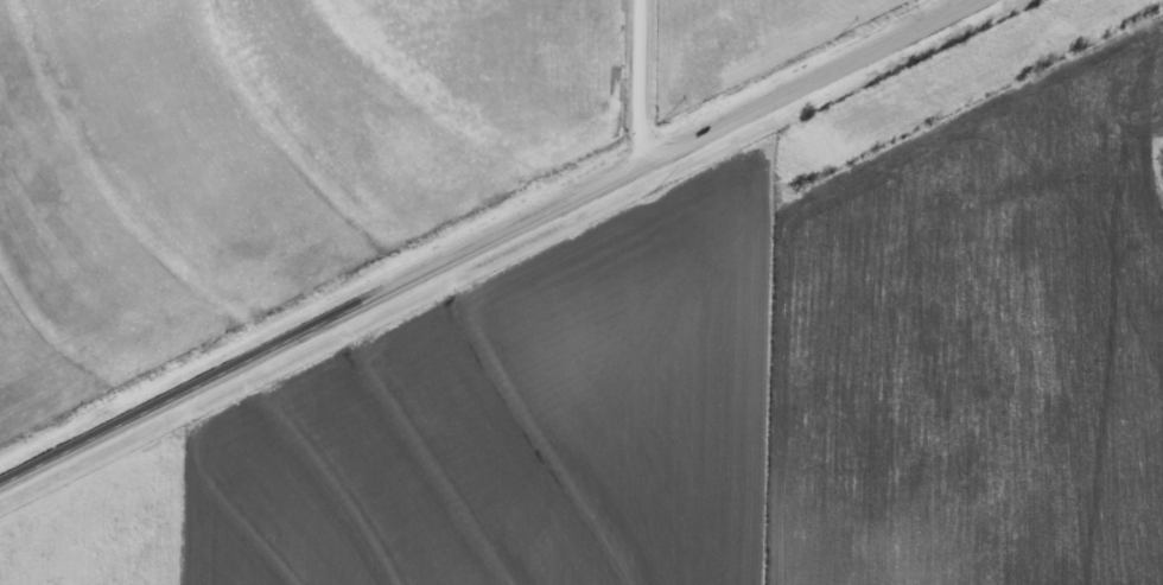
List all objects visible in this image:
road: (636, 82)
road: (488, 239)

